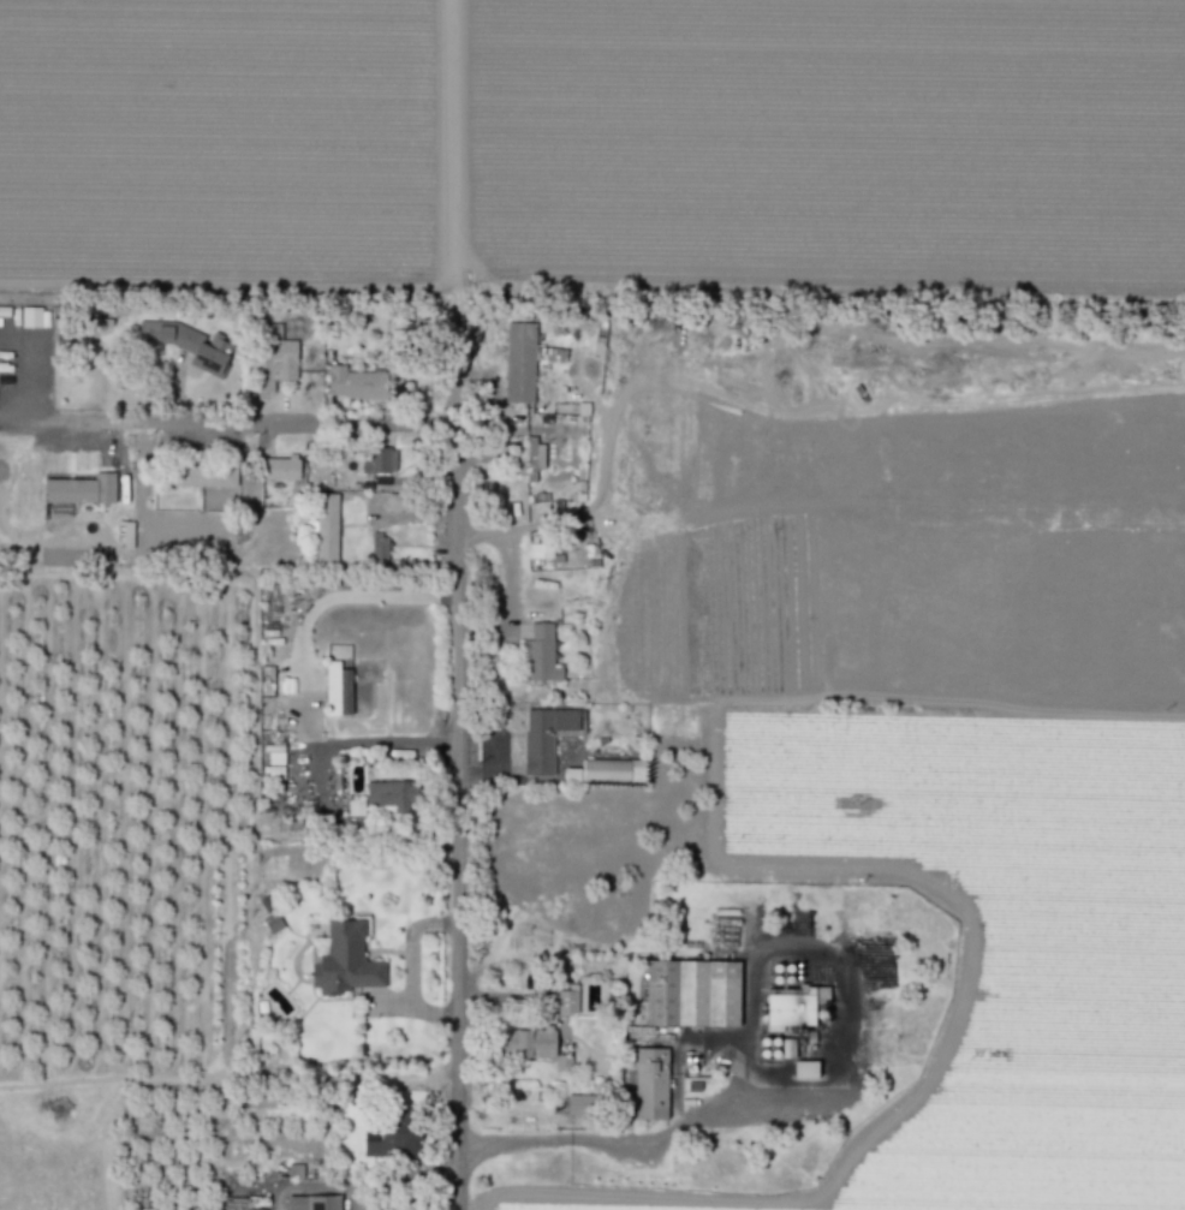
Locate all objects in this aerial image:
road: (454, 155)
building: (30, 317)
building: (187, 344)
building: (274, 357)
building: (519, 363)
road: (454, 369)
building: (356, 382)
road: (238, 425)
building: (530, 459)
building: (380, 460)
building: (281, 467)
building: (200, 476)
building: (79, 489)
building: (399, 501)
building: (326, 527)
building: (125, 532)
building: (379, 547)
building: (541, 654)
road: (302, 681)
building: (337, 690)
building: (543, 738)
building: (274, 755)
building: (273, 769)
building: (603, 771)
building: (391, 793)
building: (356, 807)
road: (458, 817)
building: (272, 923)
building: (343, 960)
road: (410, 967)
building: (691, 993)
building: (792, 1007)
building: (530, 1043)
building: (804, 1069)
building: (650, 1084)
building: (579, 1104)
building: (389, 1139)
road: (618, 1140)
road: (314, 1187)
building: (311, 1203)

